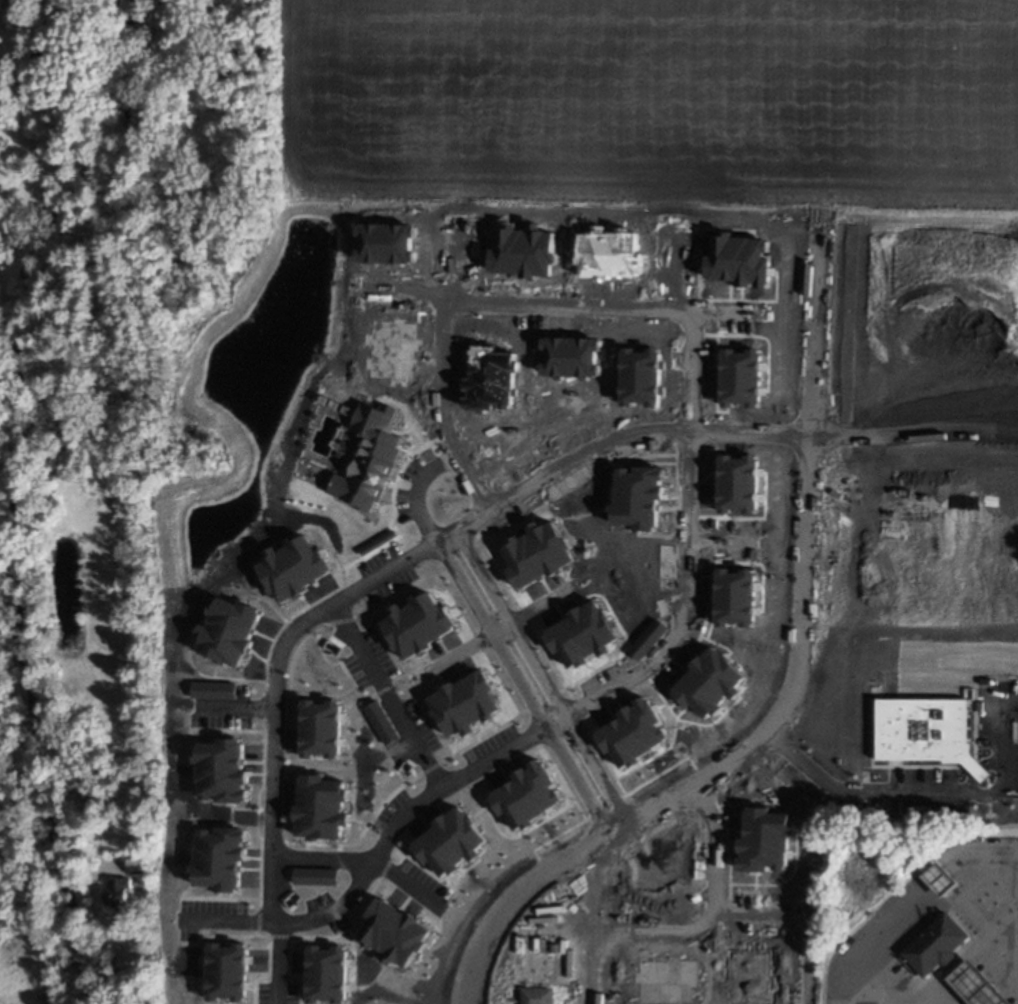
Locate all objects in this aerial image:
crop: (648, 100)
building: (738, 260)
road: (563, 306)
road: (438, 375)
building: (739, 377)
building: (367, 458)
building: (736, 483)
building: (535, 553)
road: (407, 558)
building: (291, 567)
building: (734, 597)
building: (416, 624)
building: (227, 631)
building: (579, 634)
building: (707, 682)
road: (532, 683)
building: (213, 690)
road: (601, 693)
building: (463, 702)
building: (379, 722)
building: (319, 728)
building: (921, 730)
building: (631, 732)
building: (221, 770)
building: (525, 795)
building: (320, 807)
building: (448, 842)
building: (219, 858)
building: (140, 865)
building: (314, 876)
building: (938, 884)
building: (119, 895)
road: (516, 899)
road: (926, 916)
building: (392, 931)
road: (98, 937)
building: (555, 947)
building: (933, 950)
road: (962, 954)
road: (1016, 964)
building: (227, 971)
building: (326, 973)
building: (971, 988)
building: (536, 995)

